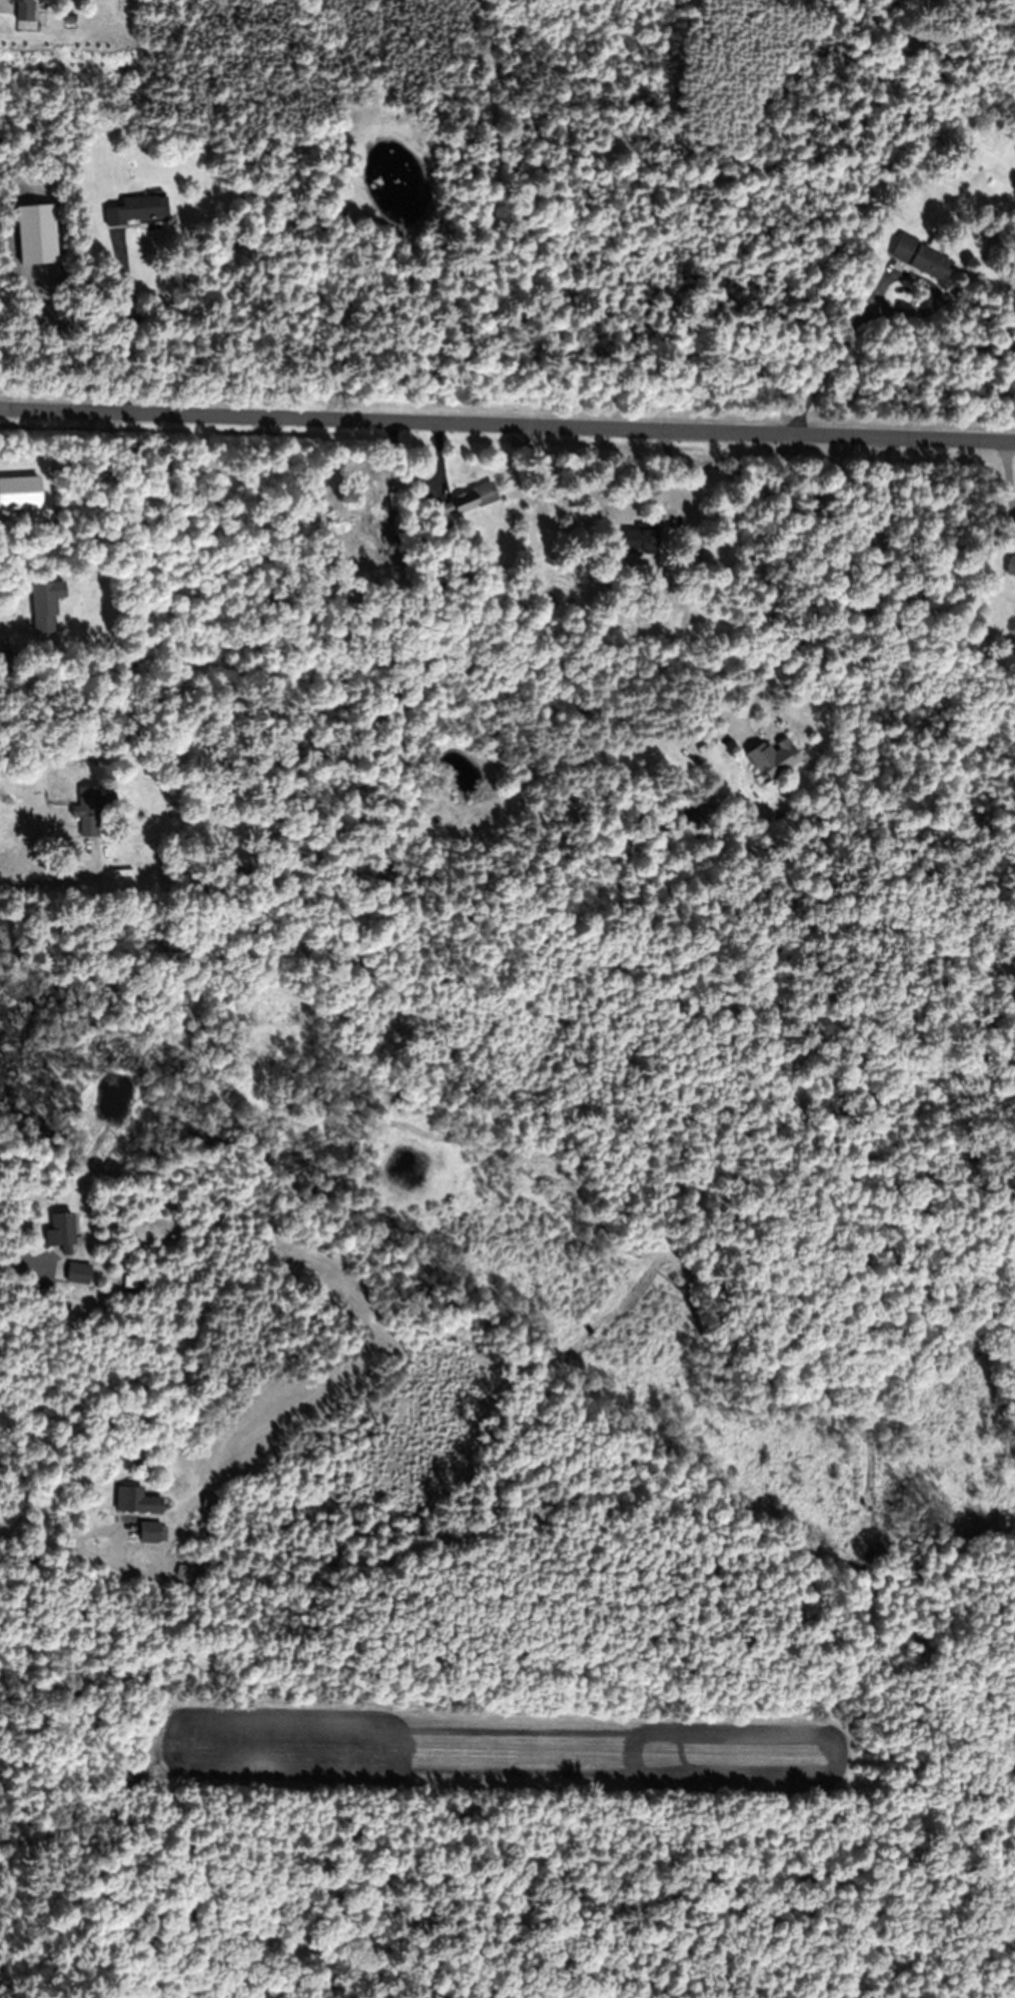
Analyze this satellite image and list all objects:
building: (24, 10)
building: (138, 210)
building: (921, 258)
road: (507, 429)
building: (459, 506)
building: (642, 539)
building: (1011, 567)
building: (44, 609)
building: (6, 660)
building: (774, 758)
building: (88, 812)
building: (61, 1231)
building: (72, 1272)
building: (134, 1282)
building: (136, 1500)
building: (150, 1531)

